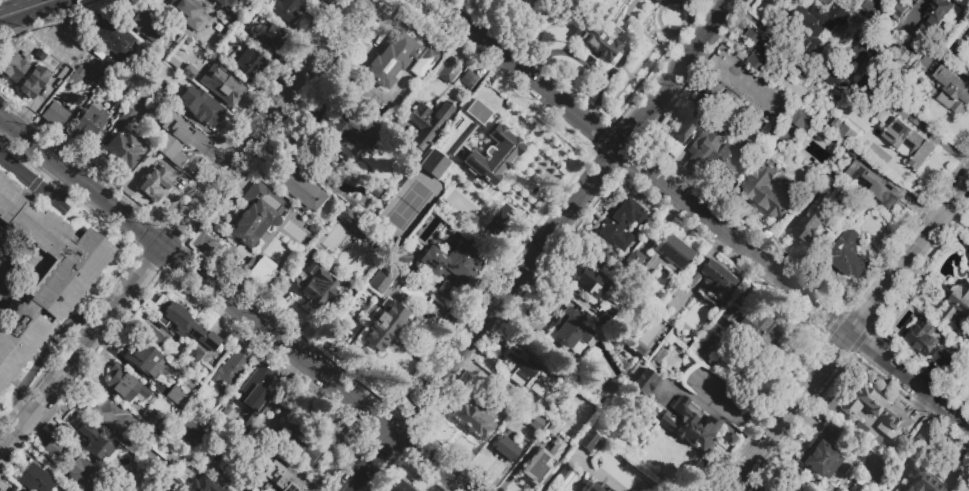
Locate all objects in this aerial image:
parking lot: (693, 0)
road: (532, 1)
road: (653, 1)
building: (916, 1)
road: (464, 2)
road: (666, 2)
building: (827, 2)
road: (654, 3)
road: (724, 3)
building: (228, 4)
road: (472, 4)
road: (625, 4)
road: (584, 6)
building: (871, 8)
road: (25, 9)
building: (287, 9)
road: (565, 10)
road: (916, 11)
building: (901, 13)
building: (186, 14)
road: (526, 14)
road: (463, 16)
road: (481, 18)
road: (520, 18)
building: (935, 18)
road: (603, 21)
building: (231, 22)
road: (551, 24)
building: (146, 26)
building: (819, 27)
building: (225, 31)
building: (241, 33)
building: (112, 37)
building: (268, 37)
road: (622, 37)
building: (600, 43)
building: (863, 48)
building: (76, 51)
building: (758, 51)
building: (37, 52)
building: (903, 52)
building: (160, 54)
building: (222, 54)
building: (964, 56)
building: (427, 57)
building: (391, 58)
building: (768, 61)
road: (581, 62)
road: (653, 62)
building: (249, 64)
building: (11, 67)
building: (108, 70)
road: (623, 70)
building: (188, 71)
building: (446, 71)
building: (870, 71)
road: (632, 72)
road: (606, 74)
building: (729, 76)
building: (466, 79)
building: (835, 79)
building: (32, 82)
building: (222, 84)
building: (157, 86)
building: (952, 92)
building: (712, 98)
building: (768, 101)
building: (852, 101)
building: (201, 107)
building: (476, 111)
building: (54, 114)
building: (125, 116)
road: (0, 119)
building: (803, 121)
building: (88, 122)
building: (429, 123)
building: (684, 128)
building: (843, 131)
building: (330, 136)
building: (178, 140)
building: (912, 143)
building: (708, 144)
building: (125, 149)
building: (491, 157)
building: (820, 159)
building: (729, 162)
building: (433, 167)
building: (332, 170)
building: (153, 184)
building: (871, 185)
road: (36, 186)
building: (299, 187)
building: (767, 189)
road: (56, 202)
building: (819, 210)
road: (698, 211)
building: (257, 214)
building: (347, 215)
road: (566, 217)
building: (622, 223)
road: (181, 226)
building: (313, 228)
building: (53, 250)
building: (668, 255)
building: (848, 255)
building: (594, 257)
building: (402, 258)
building: (633, 263)
building: (451, 267)
building: (260, 270)
road: (10, 275)
road: (197, 275)
building: (382, 278)
building: (693, 280)
building: (715, 283)
building: (590, 284)
building: (311, 285)
building: (957, 305)
building: (607, 315)
building: (724, 319)
building: (381, 324)
building: (184, 326)
building: (569, 329)
building: (757, 332)
road: (846, 334)
building: (923, 337)
building: (18, 338)
building: (639, 349)
building: (658, 355)
road: (43, 356)
building: (191, 357)
building: (143, 358)
building: (942, 358)
building: (230, 367)
building: (523, 371)
building: (597, 379)
building: (644, 382)
building: (125, 384)
building: (255, 388)
building: (608, 391)
building: (175, 396)
building: (509, 399)
building: (875, 408)
building: (114, 417)
building: (468, 418)
building: (149, 420)
building: (535, 423)
building: (553, 426)
building: (687, 426)
building: (191, 427)
building: (68, 432)
building: (920, 438)
building: (590, 442)
building: (96, 444)
building: (924, 445)
building: (298, 447)
building: (55, 449)
building: (504, 449)
building: (161, 450)
building: (820, 452)
road: (432, 461)
road: (372, 462)
building: (541, 464)
building: (224, 472)
building: (280, 475)
building: (872, 475)
building: (564, 476)
building: (88, 477)
building: (34, 479)
building: (923, 482)
building: (201, 483)
building: (398, 484)
building: (172, 485)
building: (772, 486)
building: (596, 487)
building: (9, 488)
building: (792, 489)
building: (259, 490)

